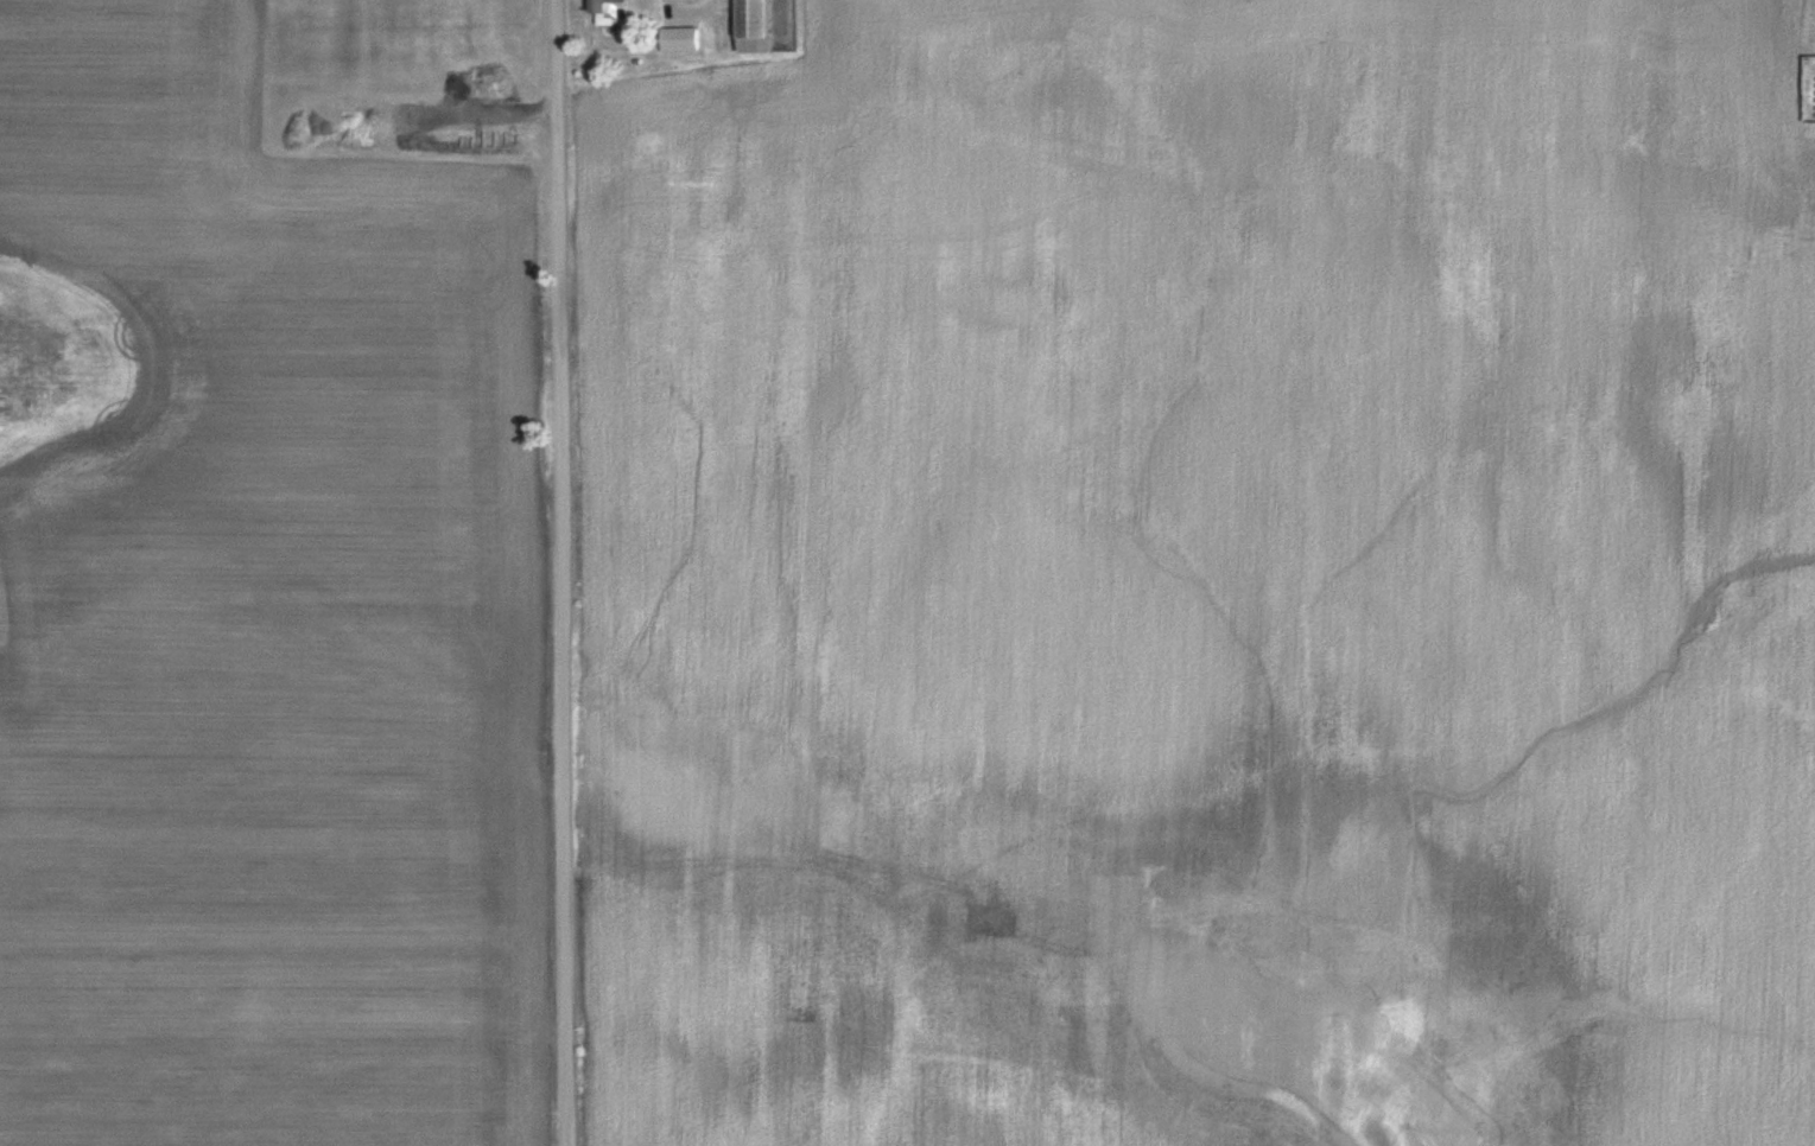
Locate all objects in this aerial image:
building: (610, 12)
building: (755, 27)
building: (680, 40)
road: (564, 573)
crop: (1210, 579)
crop: (258, 618)

